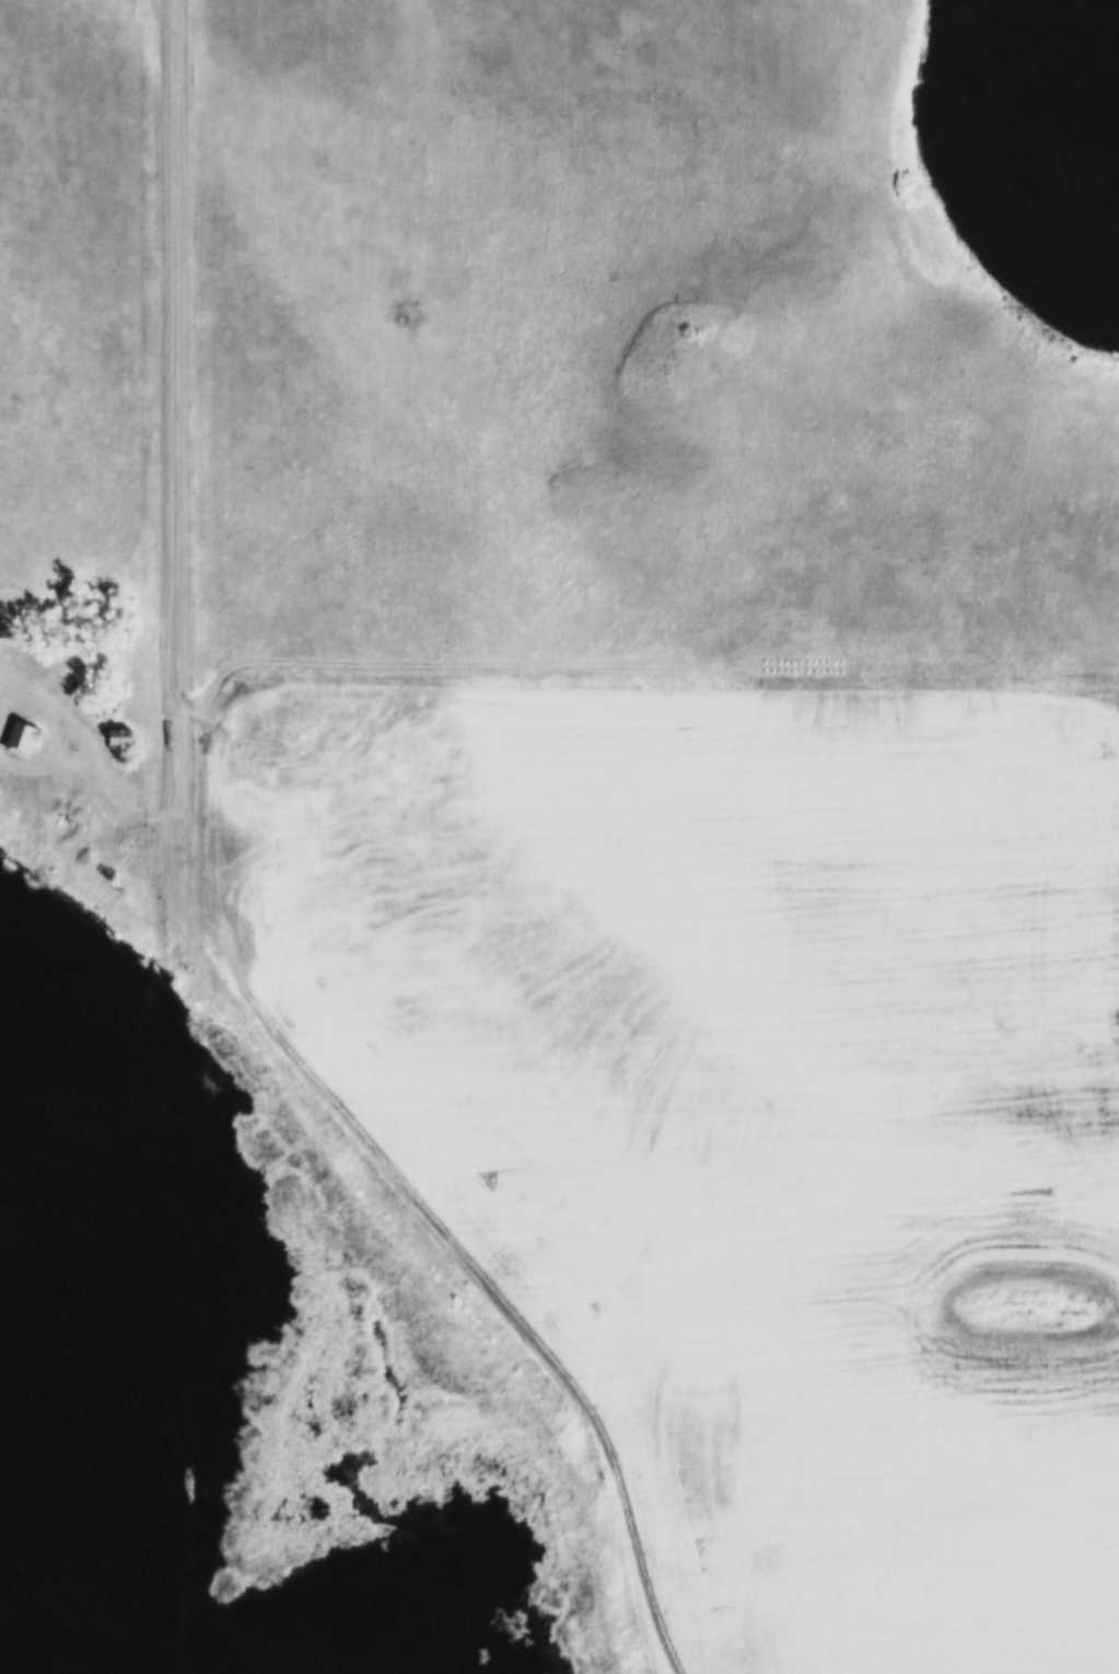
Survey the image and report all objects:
road: (177, 399)
building: (3, 628)
building: (24, 735)
building: (123, 737)
road: (105, 777)
road: (180, 1236)

